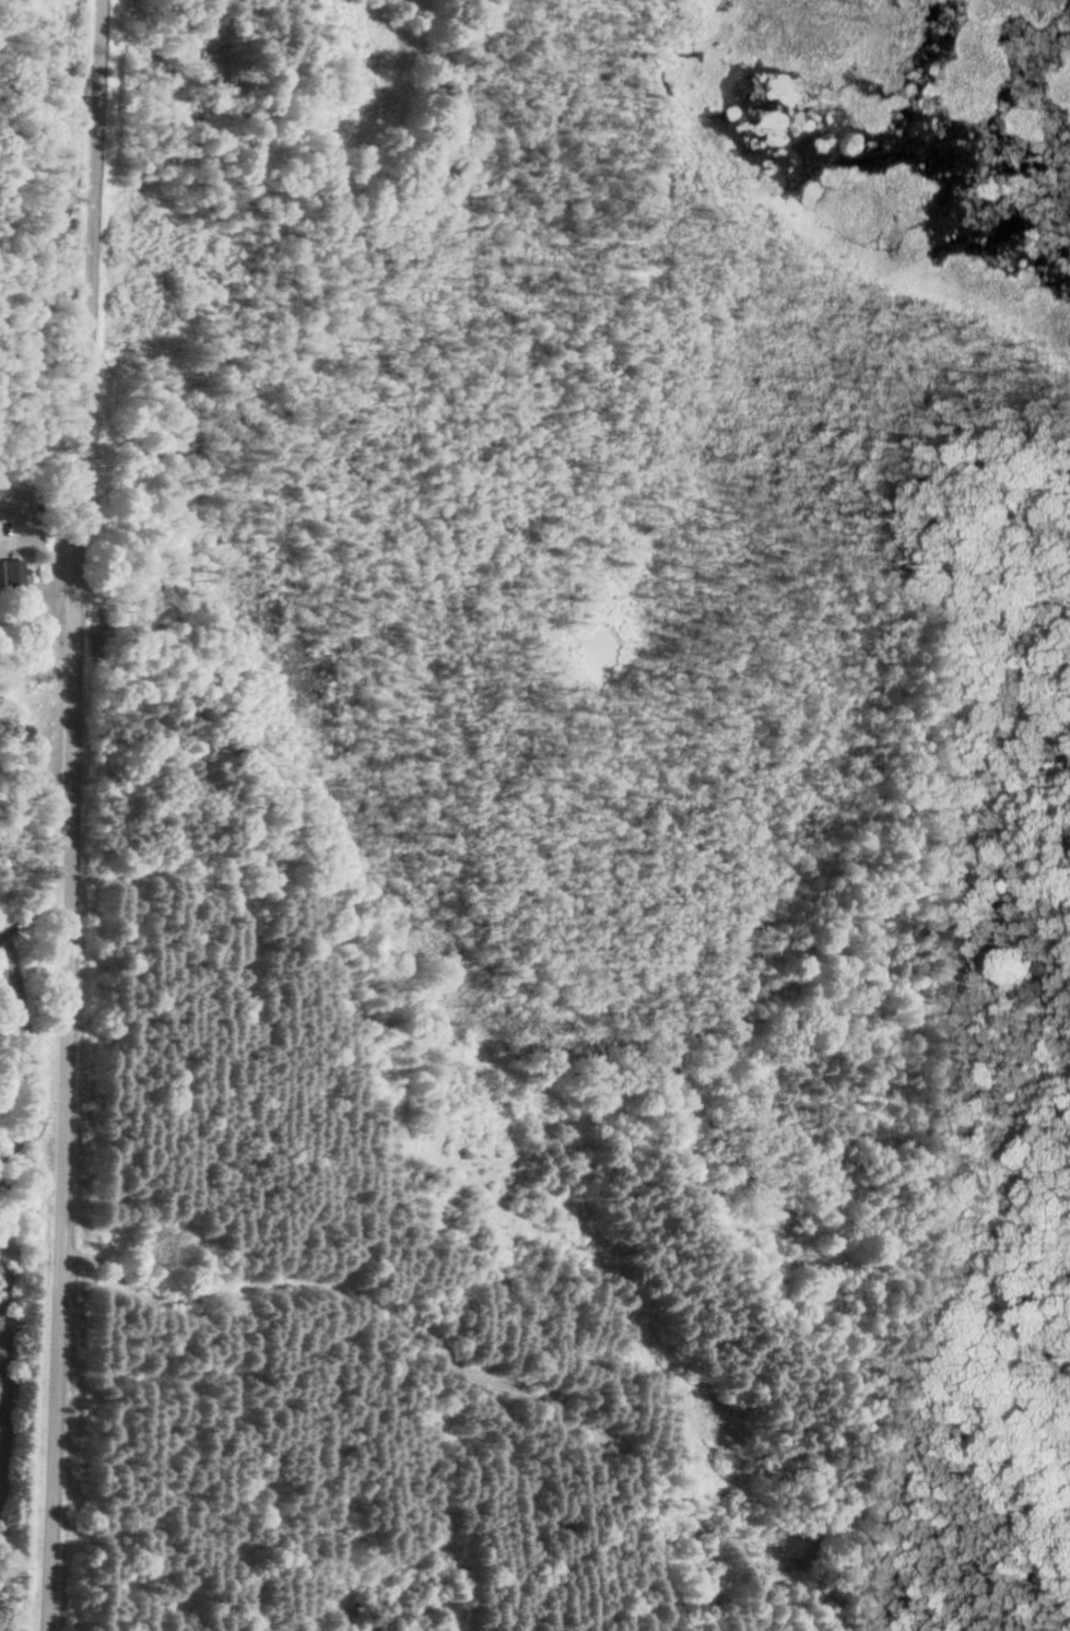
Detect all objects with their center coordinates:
building: (10, 578)
road: (62, 814)
road: (844, 1540)

